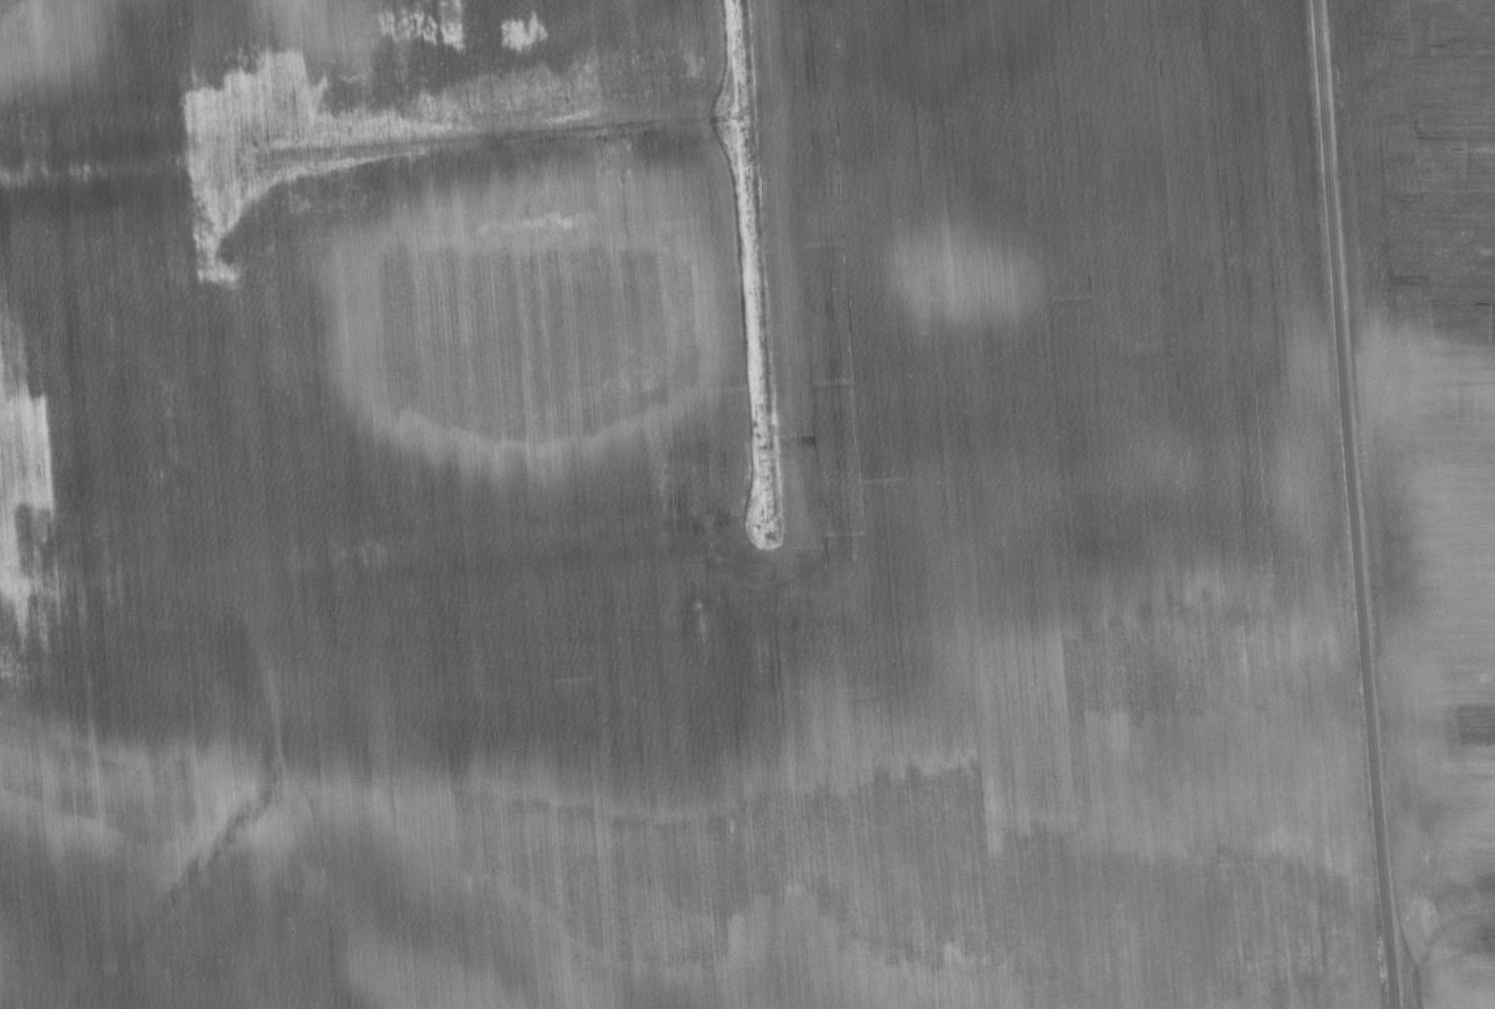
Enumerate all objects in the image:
road: (1352, 504)

